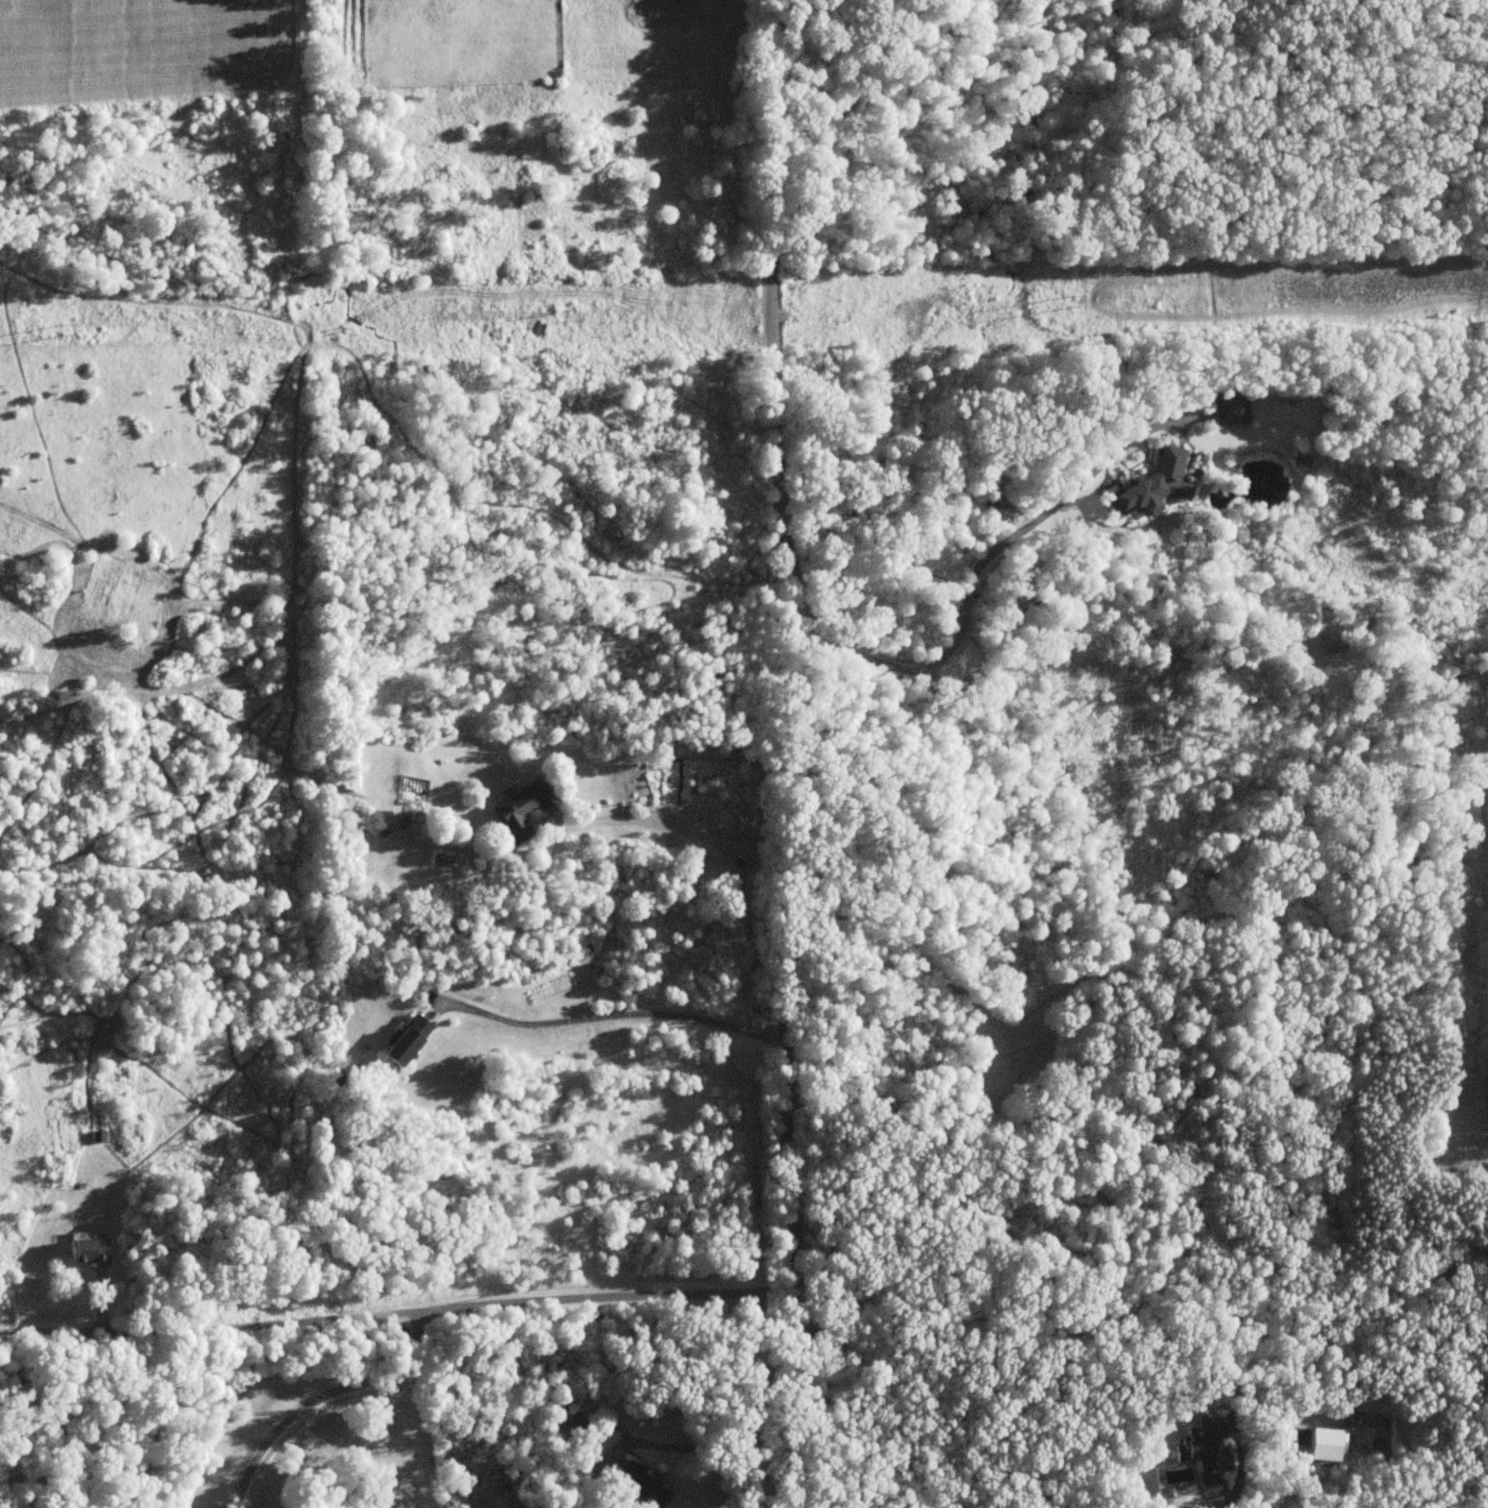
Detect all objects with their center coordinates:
building: (1229, 410)
building: (1151, 487)
road: (974, 570)
road: (805, 750)
building: (519, 810)
building: (374, 824)
road: (680, 829)
road: (623, 1013)
building: (403, 1041)
building: (96, 1138)
building: (86, 1253)
road: (397, 1316)
road: (321, 1397)
building: (573, 1428)
road: (902, 1435)
road: (706, 1439)
building: (1320, 1445)
building: (1201, 1454)
road: (1239, 1468)
building: (635, 1488)
building: (958, 1507)

